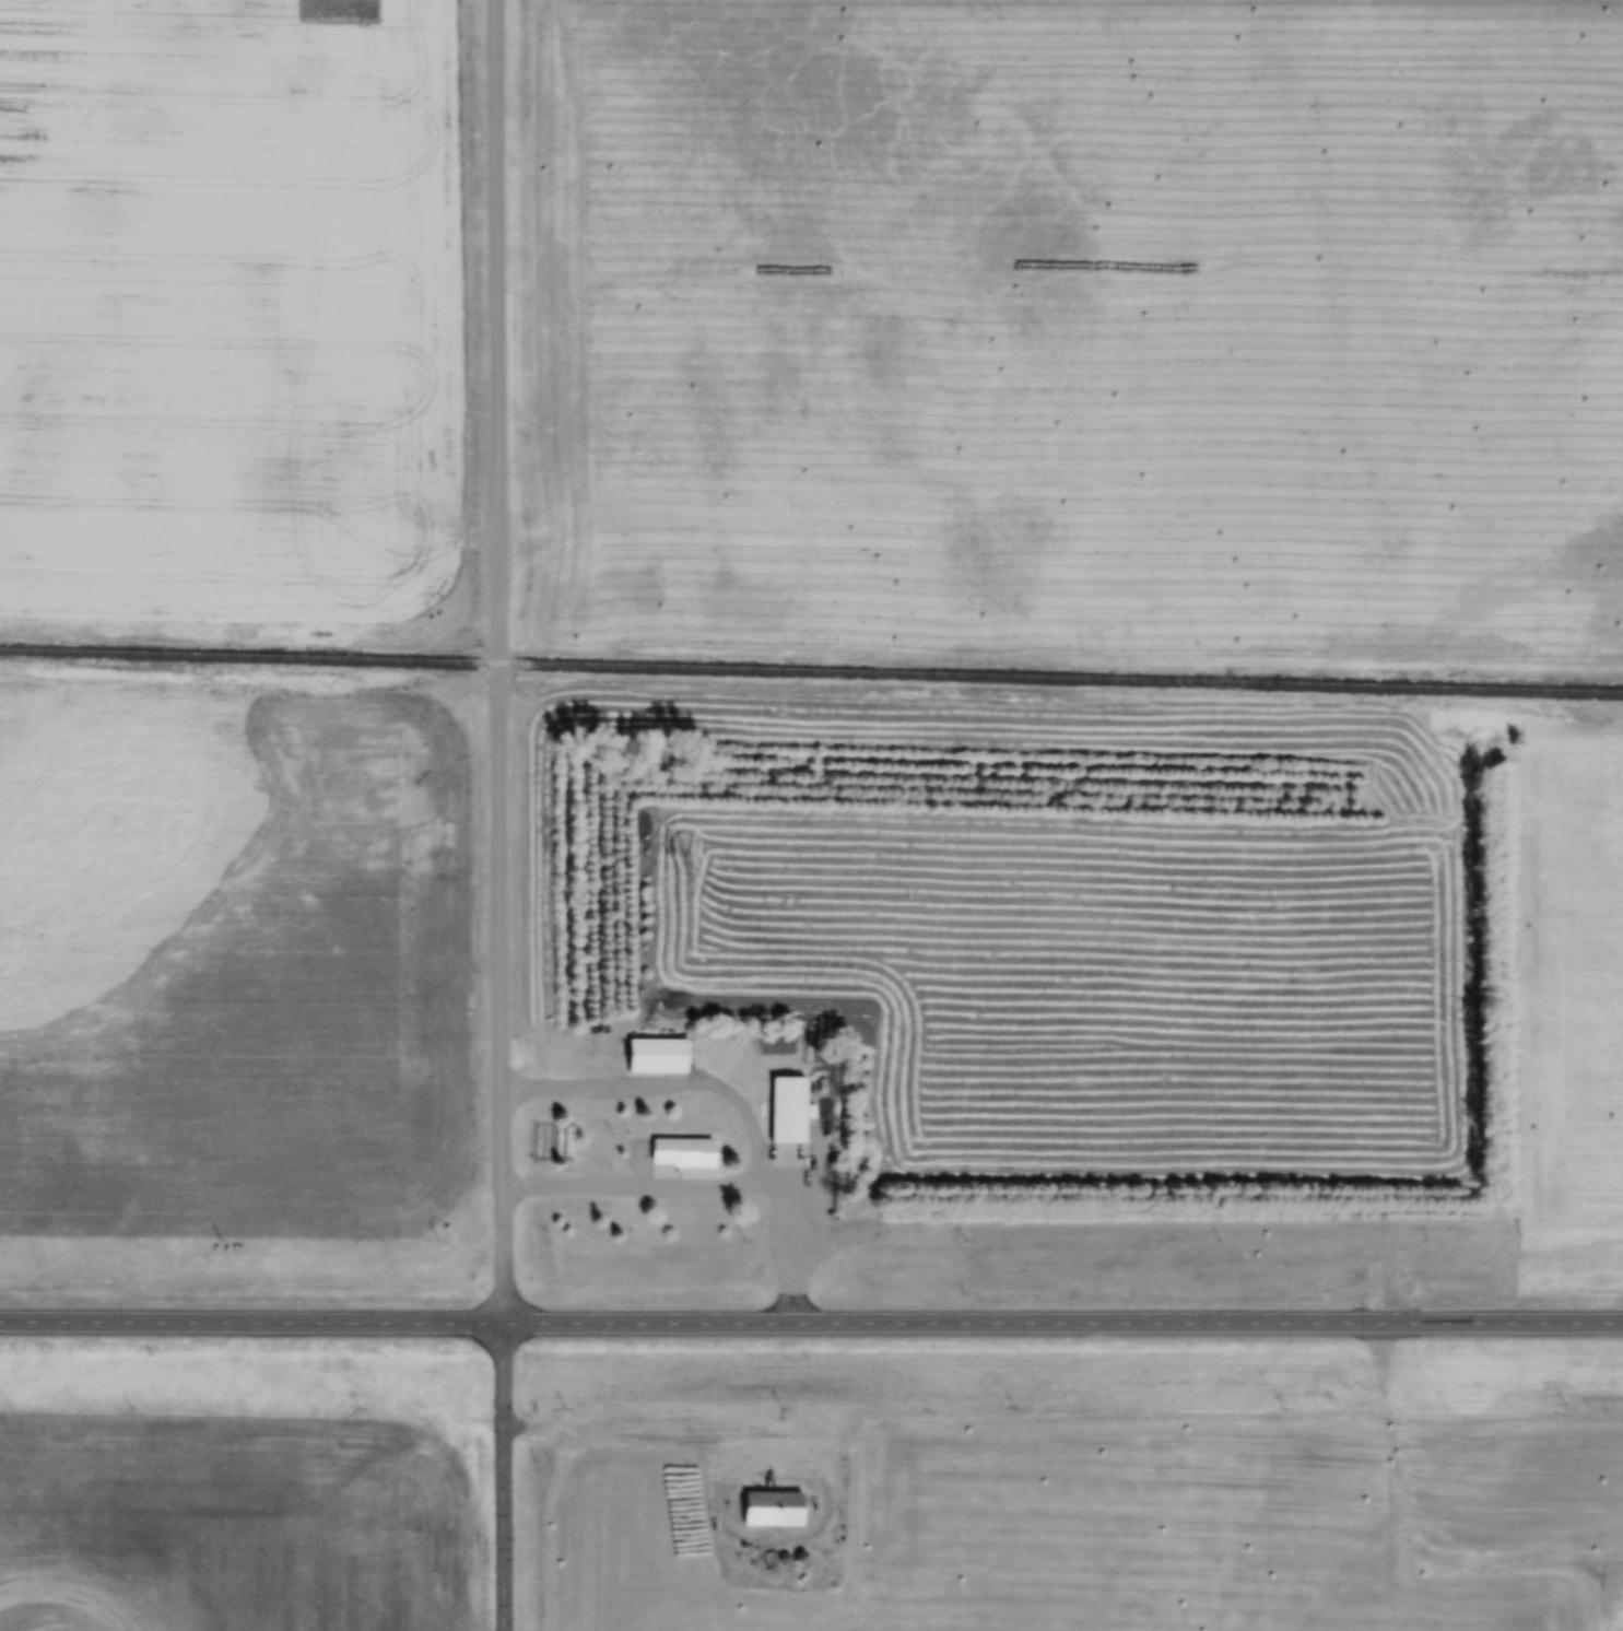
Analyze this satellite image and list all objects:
crop: (604, 0)
crop: (1085, 326)
road: (496, 665)
railway: (811, 673)
building: (656, 1057)
road: (743, 1102)
building: (786, 1110)
building: (681, 1154)
road: (647, 1187)
road: (811, 1330)
road: (706, 1438)
road: (510, 1480)
building: (772, 1511)
road: (1411, 1545)
building: (799, 1559)
silo: (799, 1559)
building: (767, 1560)
building: (783, 1560)
silo: (783, 1560)

